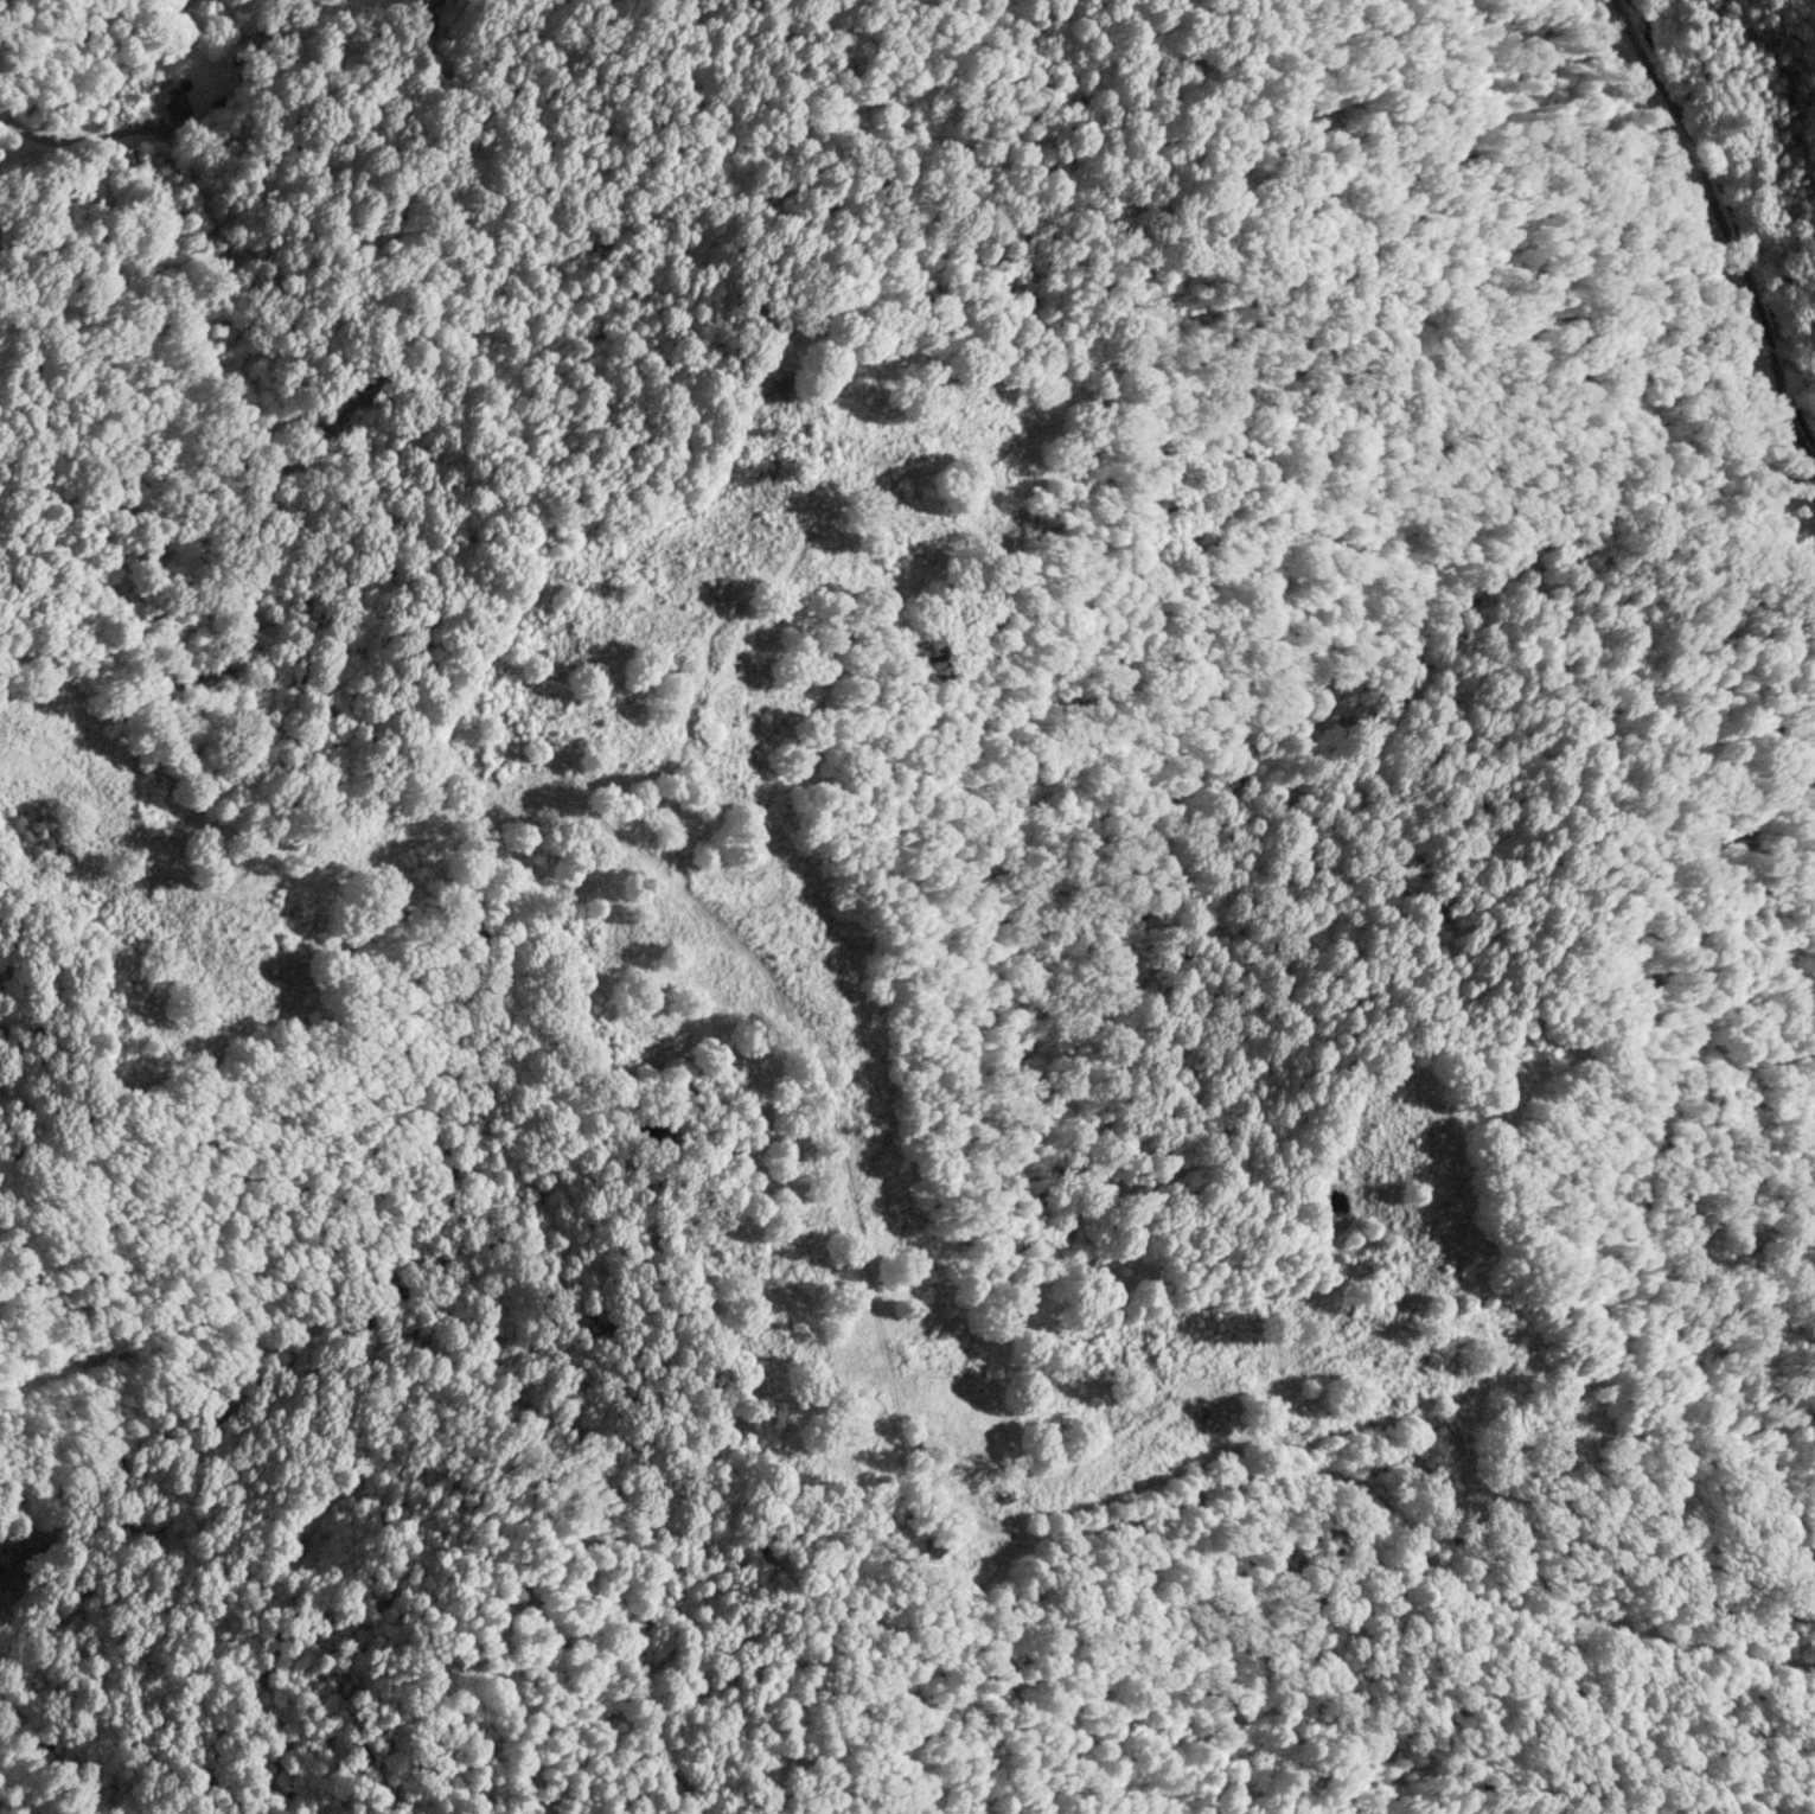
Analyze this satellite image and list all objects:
road: (59, 51)
road: (1726, 226)

